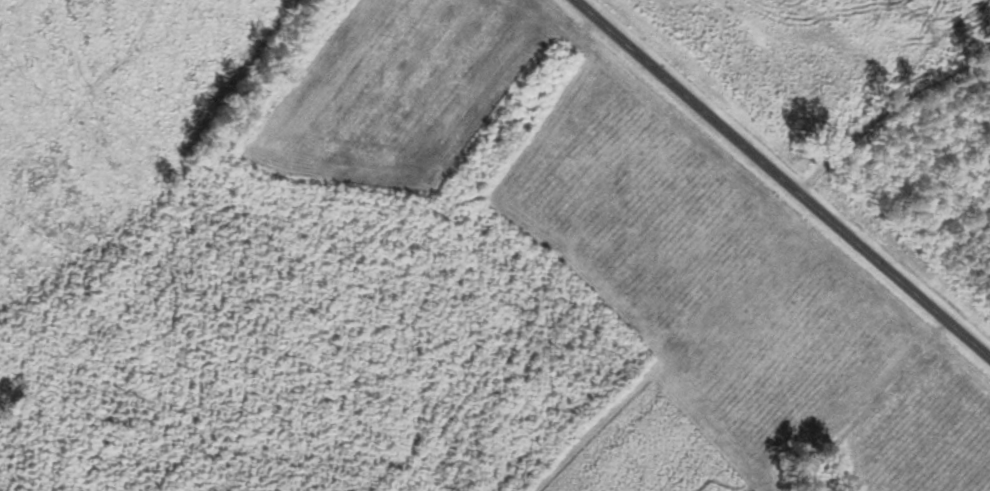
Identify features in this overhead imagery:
road: (780, 179)

